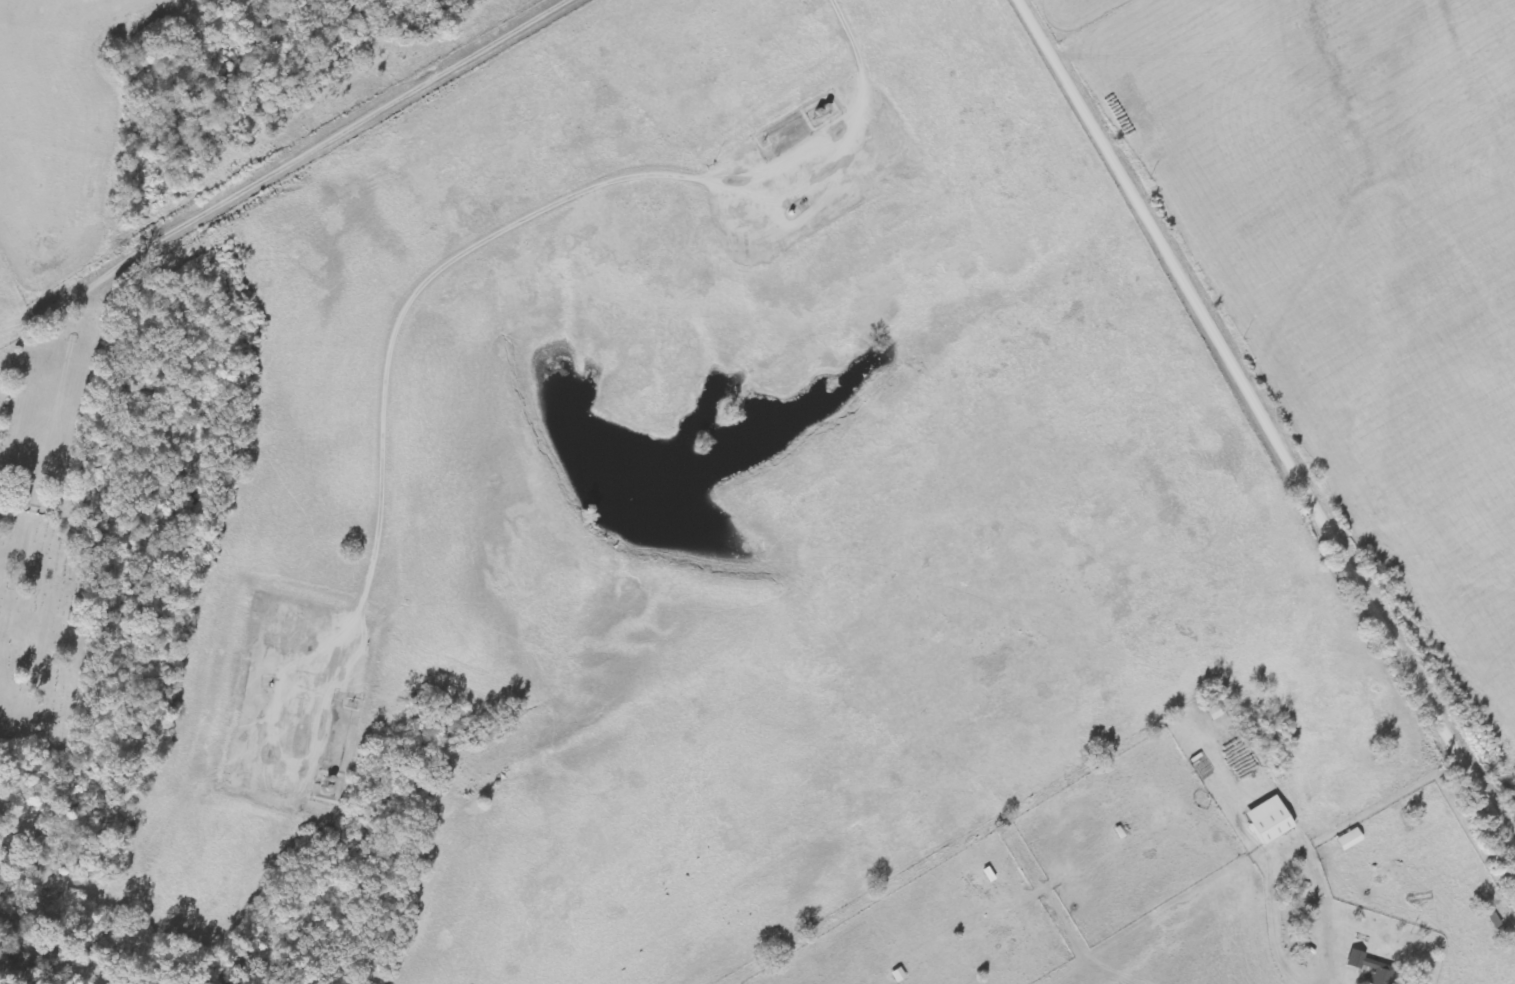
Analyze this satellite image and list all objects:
road: (235, 200)
road: (1266, 423)
park: (47, 620)
building: (1267, 821)
building: (1348, 840)
building: (1369, 968)

